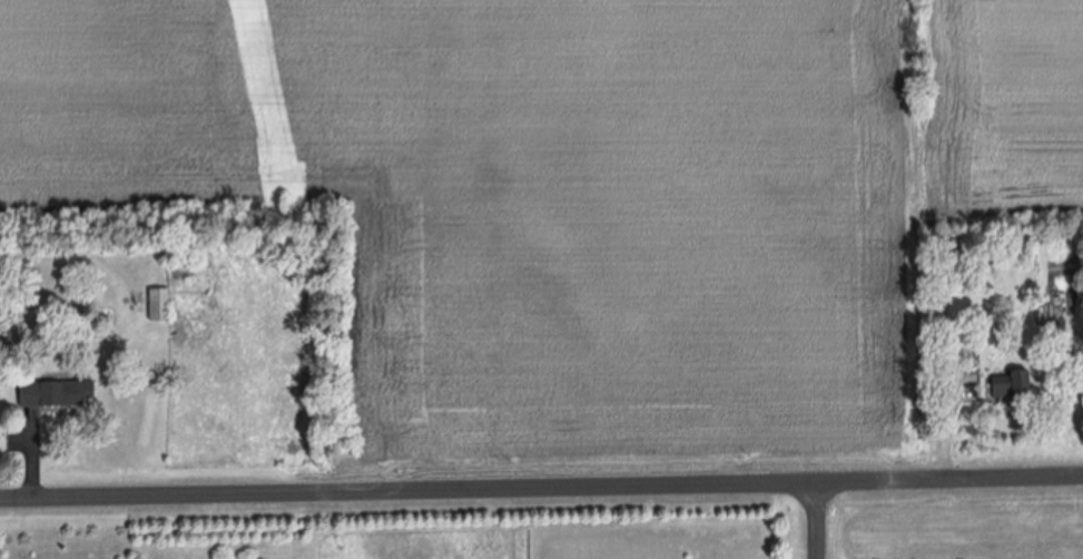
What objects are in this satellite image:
crop: (573, 202)
building: (161, 304)
building: (1015, 384)
building: (60, 394)
road: (951, 415)
road: (541, 490)
road: (821, 519)

